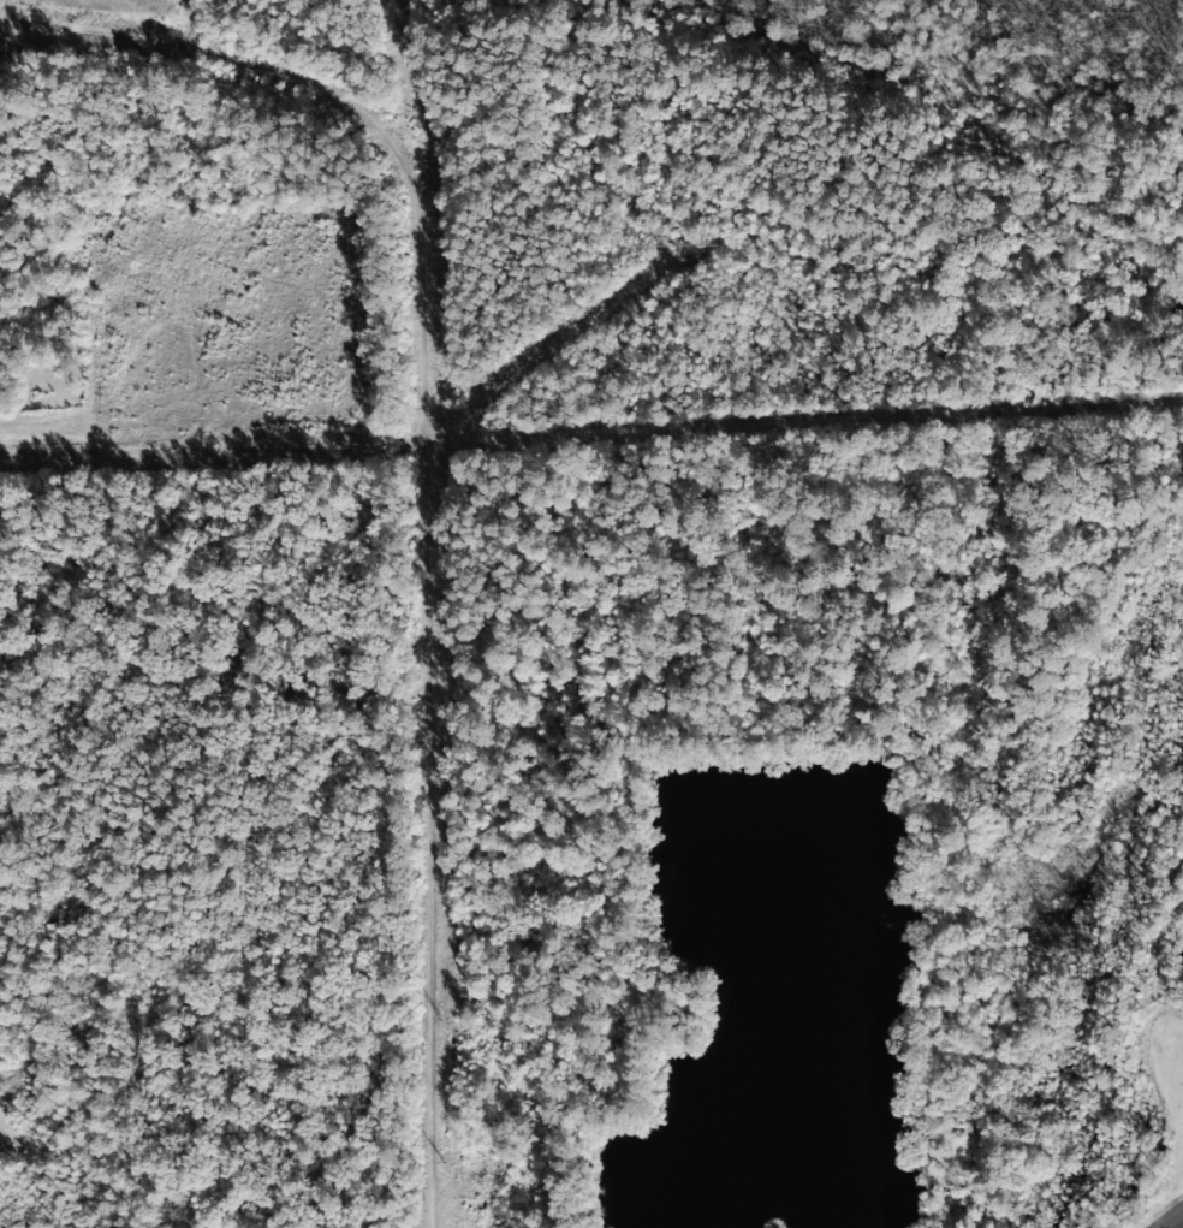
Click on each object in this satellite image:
road: (1175, 1222)

